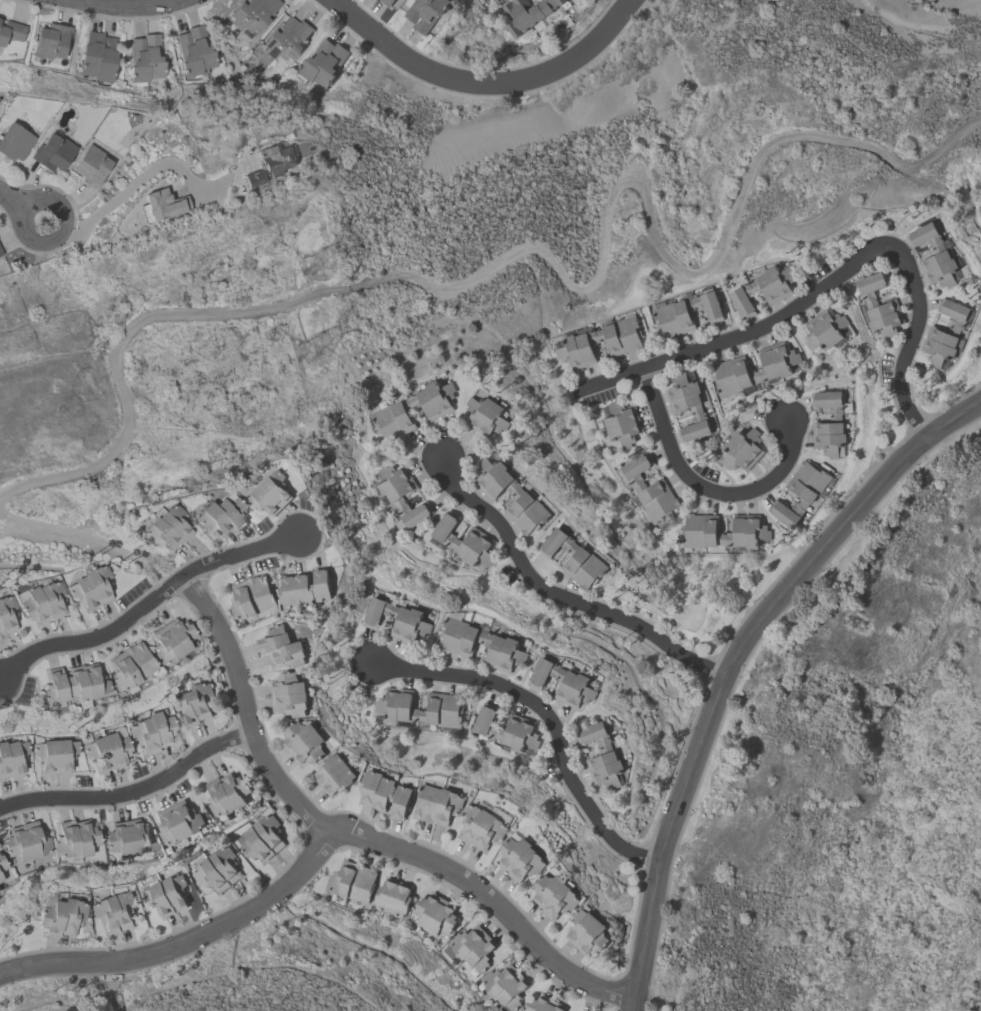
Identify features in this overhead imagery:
building: (387, 2)
road: (129, 5)
building: (425, 12)
building: (526, 13)
building: (251, 15)
building: (11, 32)
building: (285, 39)
building: (51, 42)
building: (193, 53)
building: (97, 57)
building: (145, 59)
building: (322, 63)
road: (483, 83)
building: (14, 143)
building: (53, 154)
building: (91, 167)
building: (269, 167)
road: (138, 181)
road: (11, 201)
building: (161, 207)
road: (56, 233)
building: (1, 253)
building: (933, 254)
building: (0, 257)
power tower: (316, 257)
building: (762, 288)
road: (823, 290)
building: (879, 305)
building: (686, 312)
building: (823, 329)
building: (946, 331)
building: (582, 339)
power tower: (310, 341)
building: (729, 367)
building: (687, 406)
building: (391, 410)
building: (486, 415)
building: (622, 422)
building: (829, 422)
building: (742, 448)
building: (649, 489)
building: (270, 491)
building: (801, 491)
road: (699, 493)
building: (523, 494)
building: (394, 498)
building: (222, 513)
building: (165, 526)
building: (751, 530)
building: (464, 540)
building: (574, 557)
building: (90, 586)
building: (305, 587)
road: (561, 589)
building: (251, 596)
building: (42, 600)
road: (147, 605)
building: (6, 614)
building: (397, 619)
building: (171, 640)
building: (457, 643)
building: (282, 646)
road: (737, 656)
building: (131, 666)
building: (563, 681)
building: (74, 684)
building: (288, 693)
building: (193, 702)
building: (393, 707)
road: (546, 716)
building: (507, 729)
building: (150, 732)
building: (303, 741)
building: (105, 750)
building: (52, 754)
building: (602, 754)
building: (11, 757)
building: (334, 773)
road: (131, 792)
building: (386, 792)
building: (226, 793)
building: (438, 803)
building: (178, 821)
building: (481, 826)
road: (358, 834)
building: (262, 837)
building: (126, 838)
building: (75, 839)
building: (25, 841)
building: (520, 858)
building: (2, 864)
building: (217, 869)
building: (0, 878)
building: (352, 881)
building: (167, 894)
building: (554, 894)
building: (392, 896)
building: (114, 911)
building: (434, 914)
building: (60, 916)
building: (587, 931)
road: (181, 937)
building: (473, 947)
building: (504, 985)
road: (637, 1003)
building: (543, 1004)

